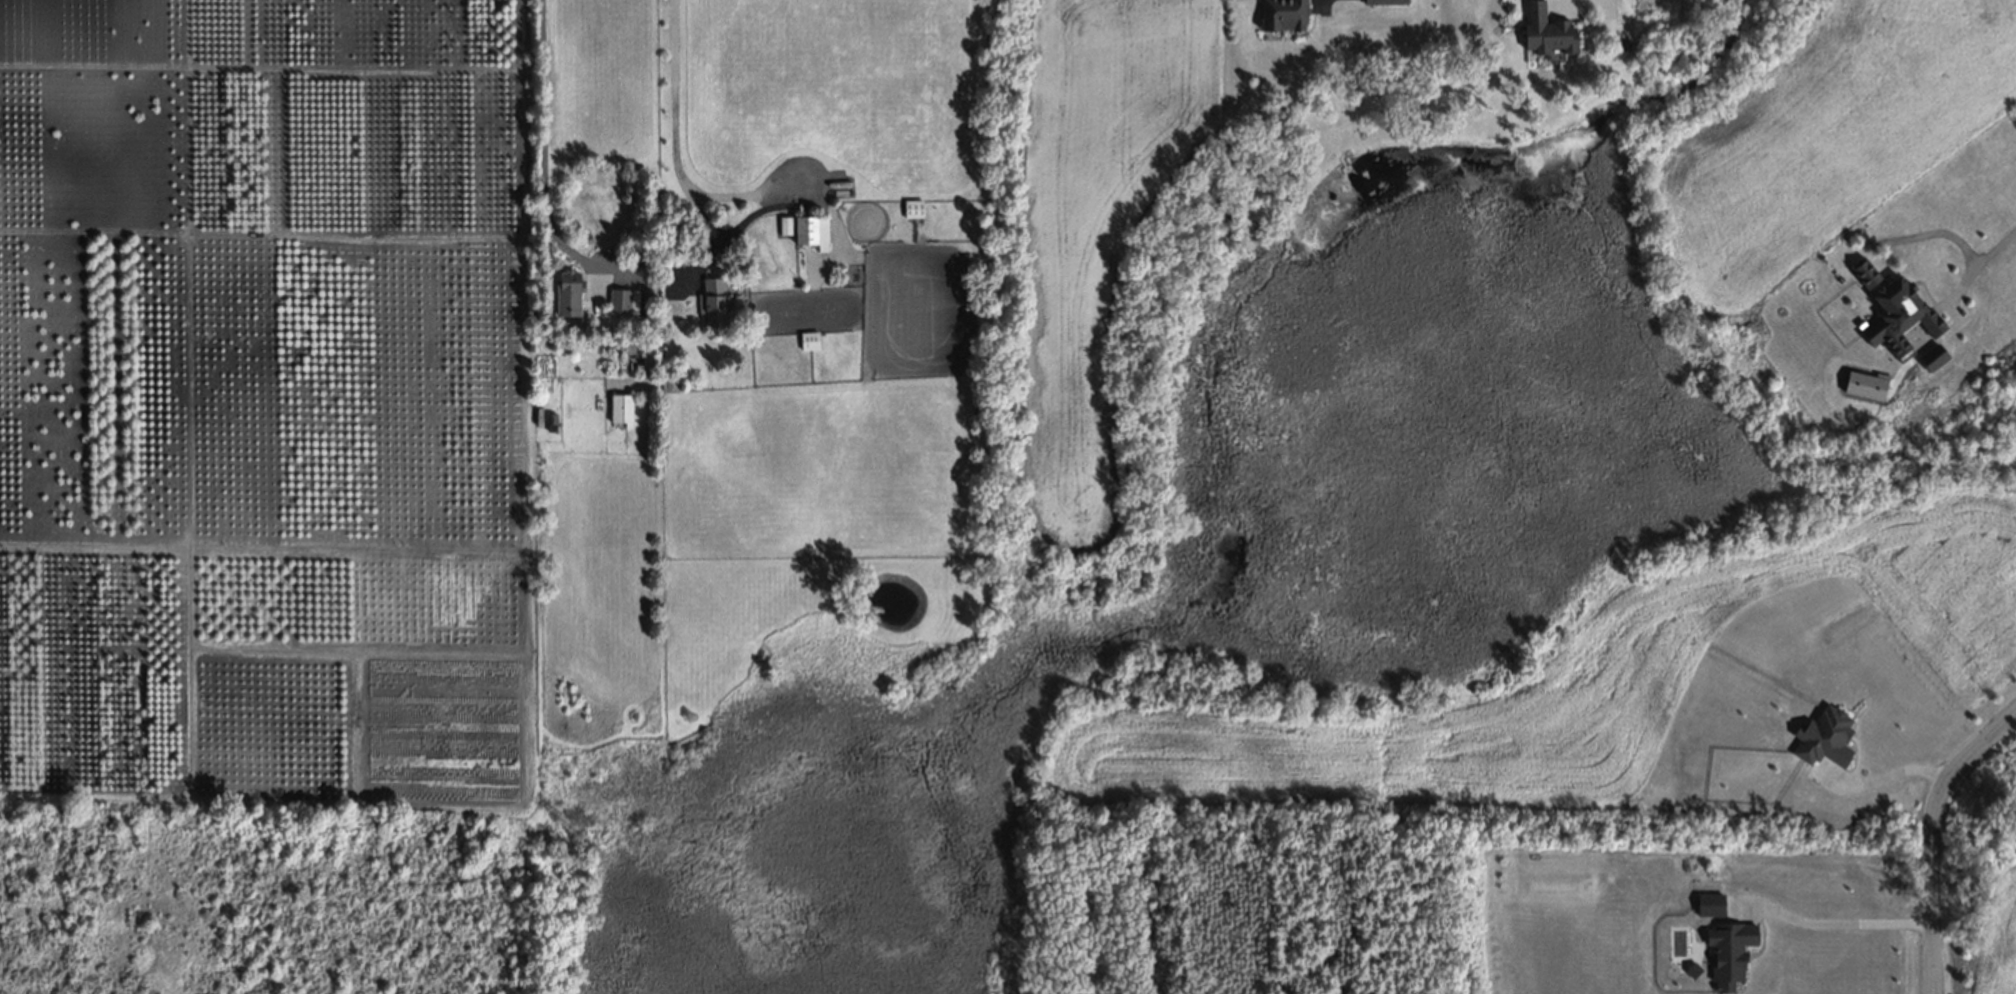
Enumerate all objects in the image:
building: (1383, 1)
road: (1588, 5)
building: (1280, 15)
building: (1542, 32)
building: (1622, 45)
road: (673, 156)
road: (546, 157)
building: (910, 206)
road: (743, 219)
building: (804, 228)
road: (1919, 234)
road: (1978, 261)
building: (1856, 271)
building: (565, 291)
building: (622, 298)
building: (712, 301)
building: (1891, 316)
building: (634, 332)
building: (807, 337)
building: (1925, 356)
building: (636, 365)
building: (670, 382)
building: (619, 406)
building: (549, 420)
building: (1823, 734)
road: (1882, 776)
road: (1932, 835)
road: (1839, 922)
building: (1727, 949)

